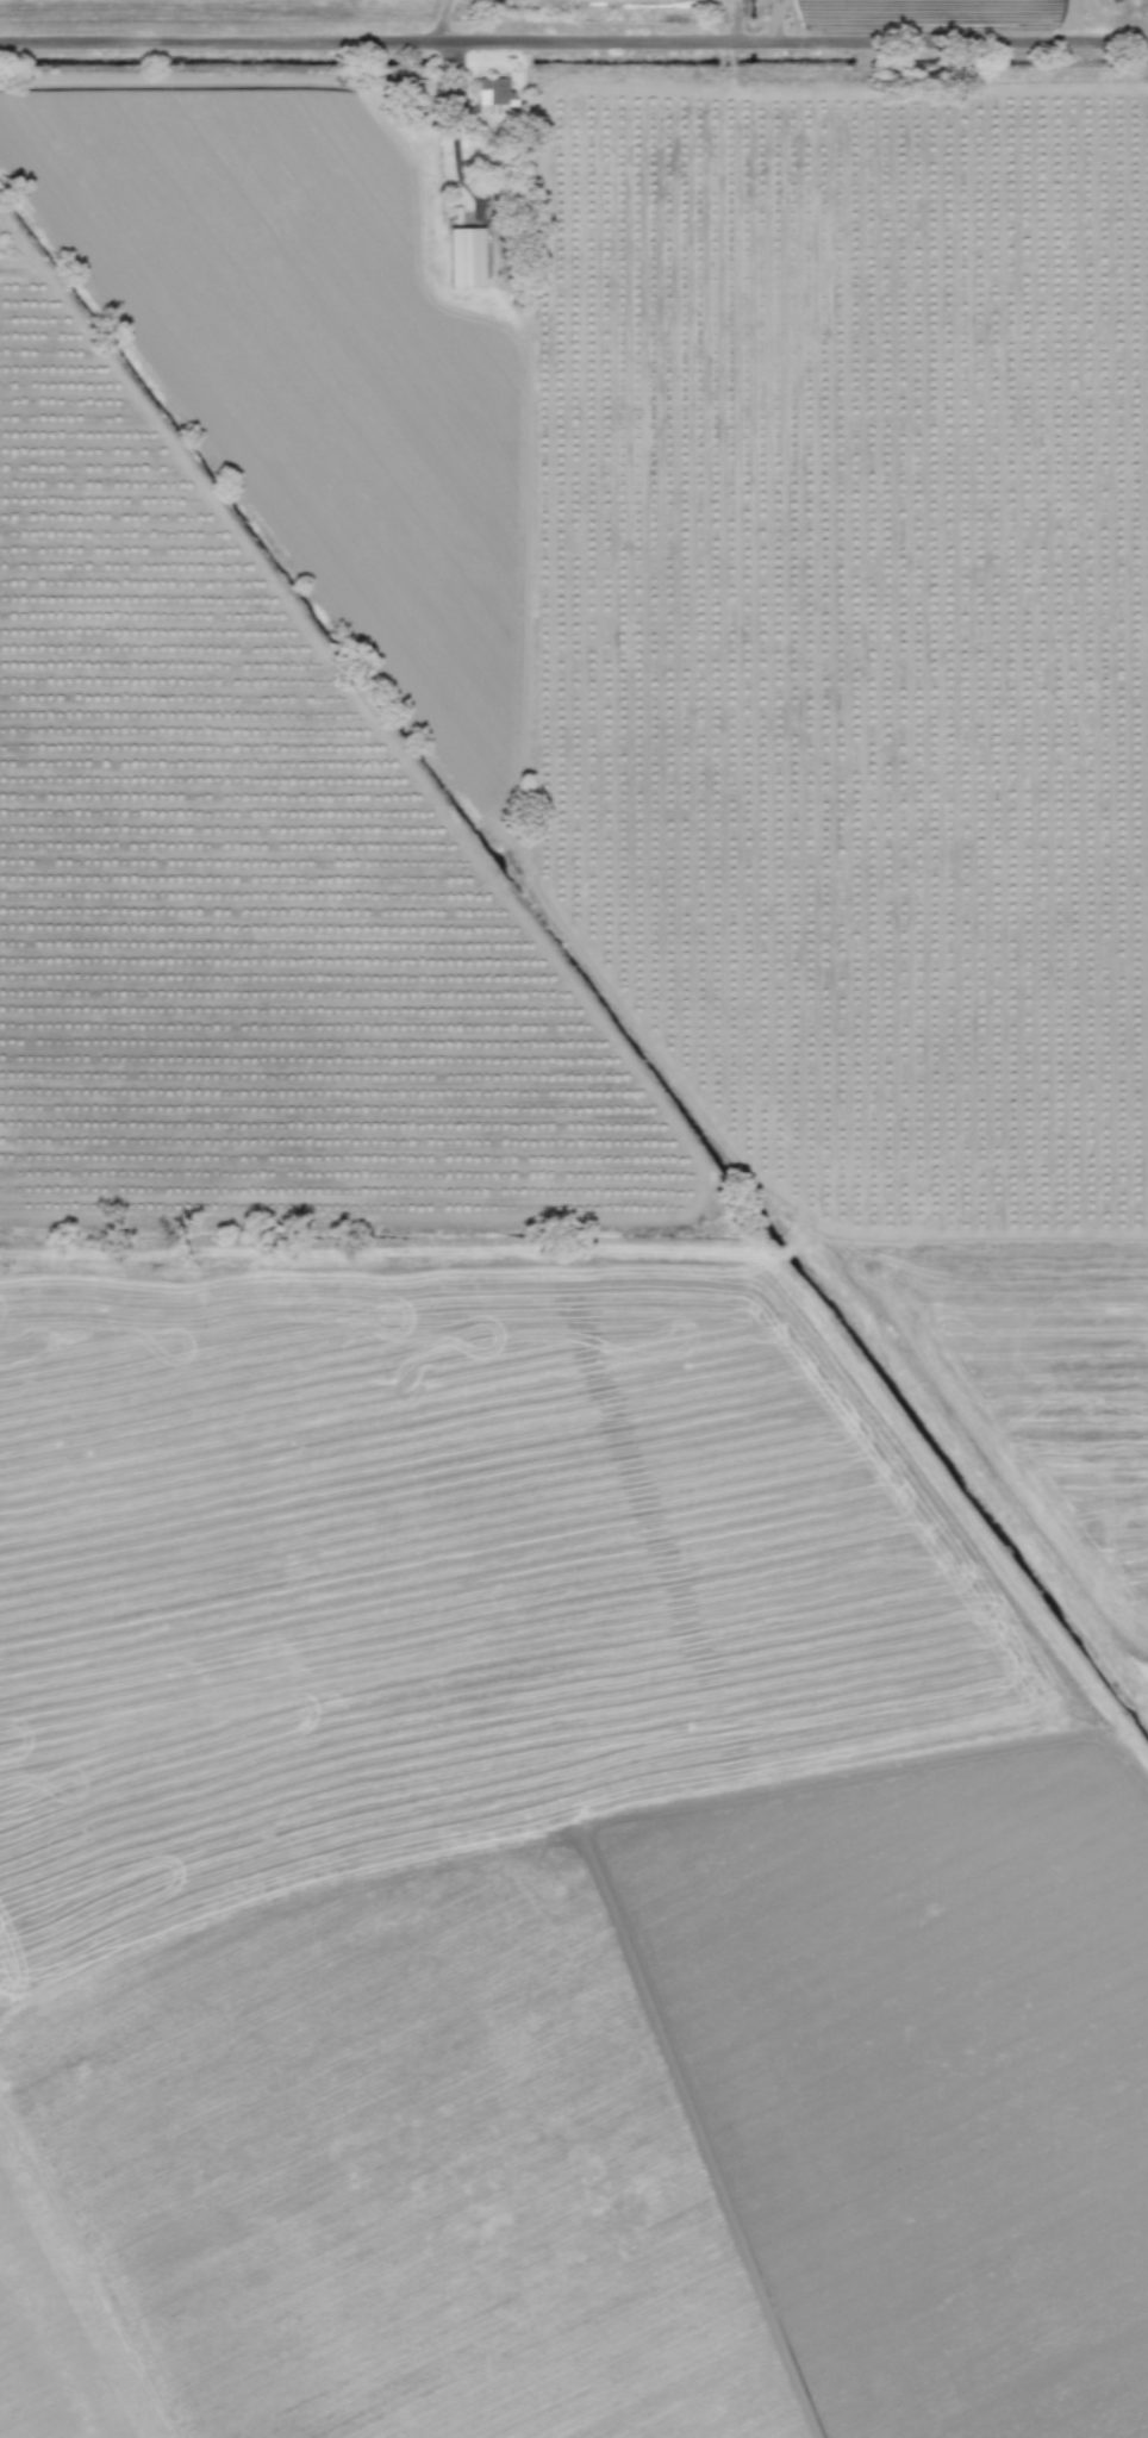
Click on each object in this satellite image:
road: (574, 43)
building: (419, 86)
building: (493, 94)
building: (464, 256)

